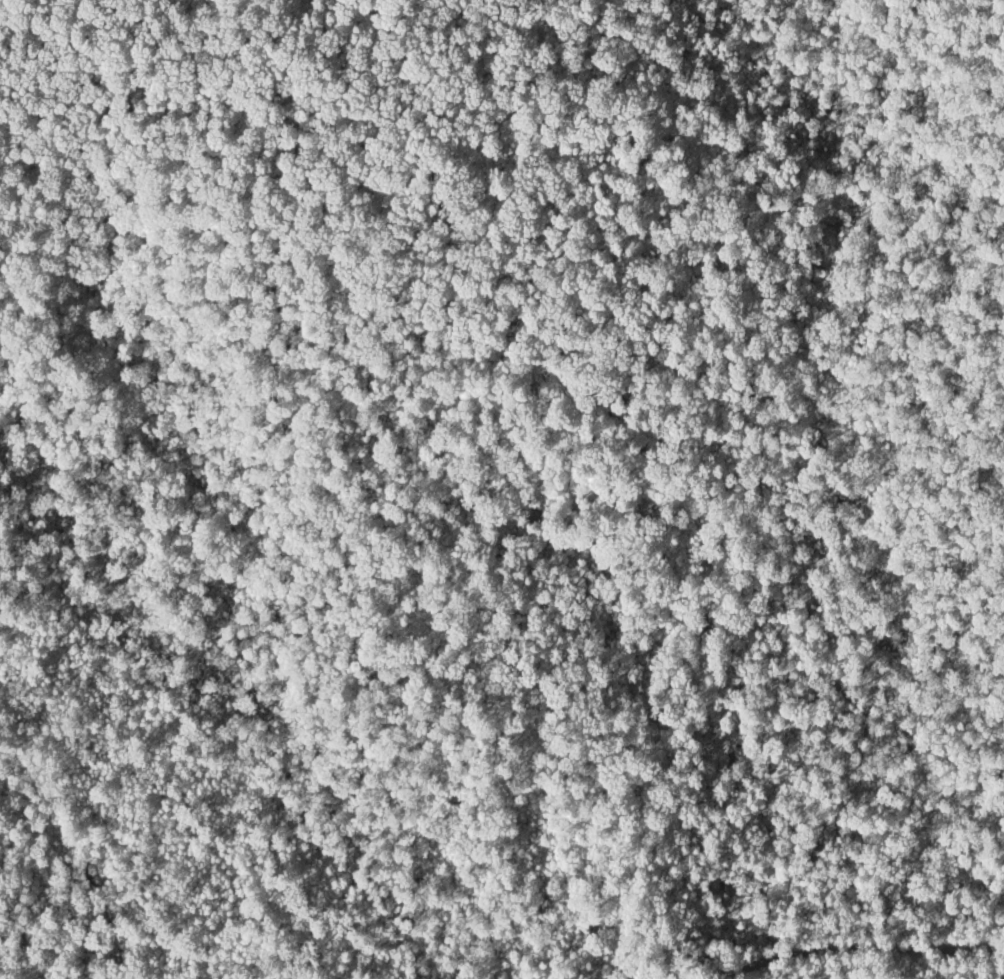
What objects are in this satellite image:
road: (850, 948)

